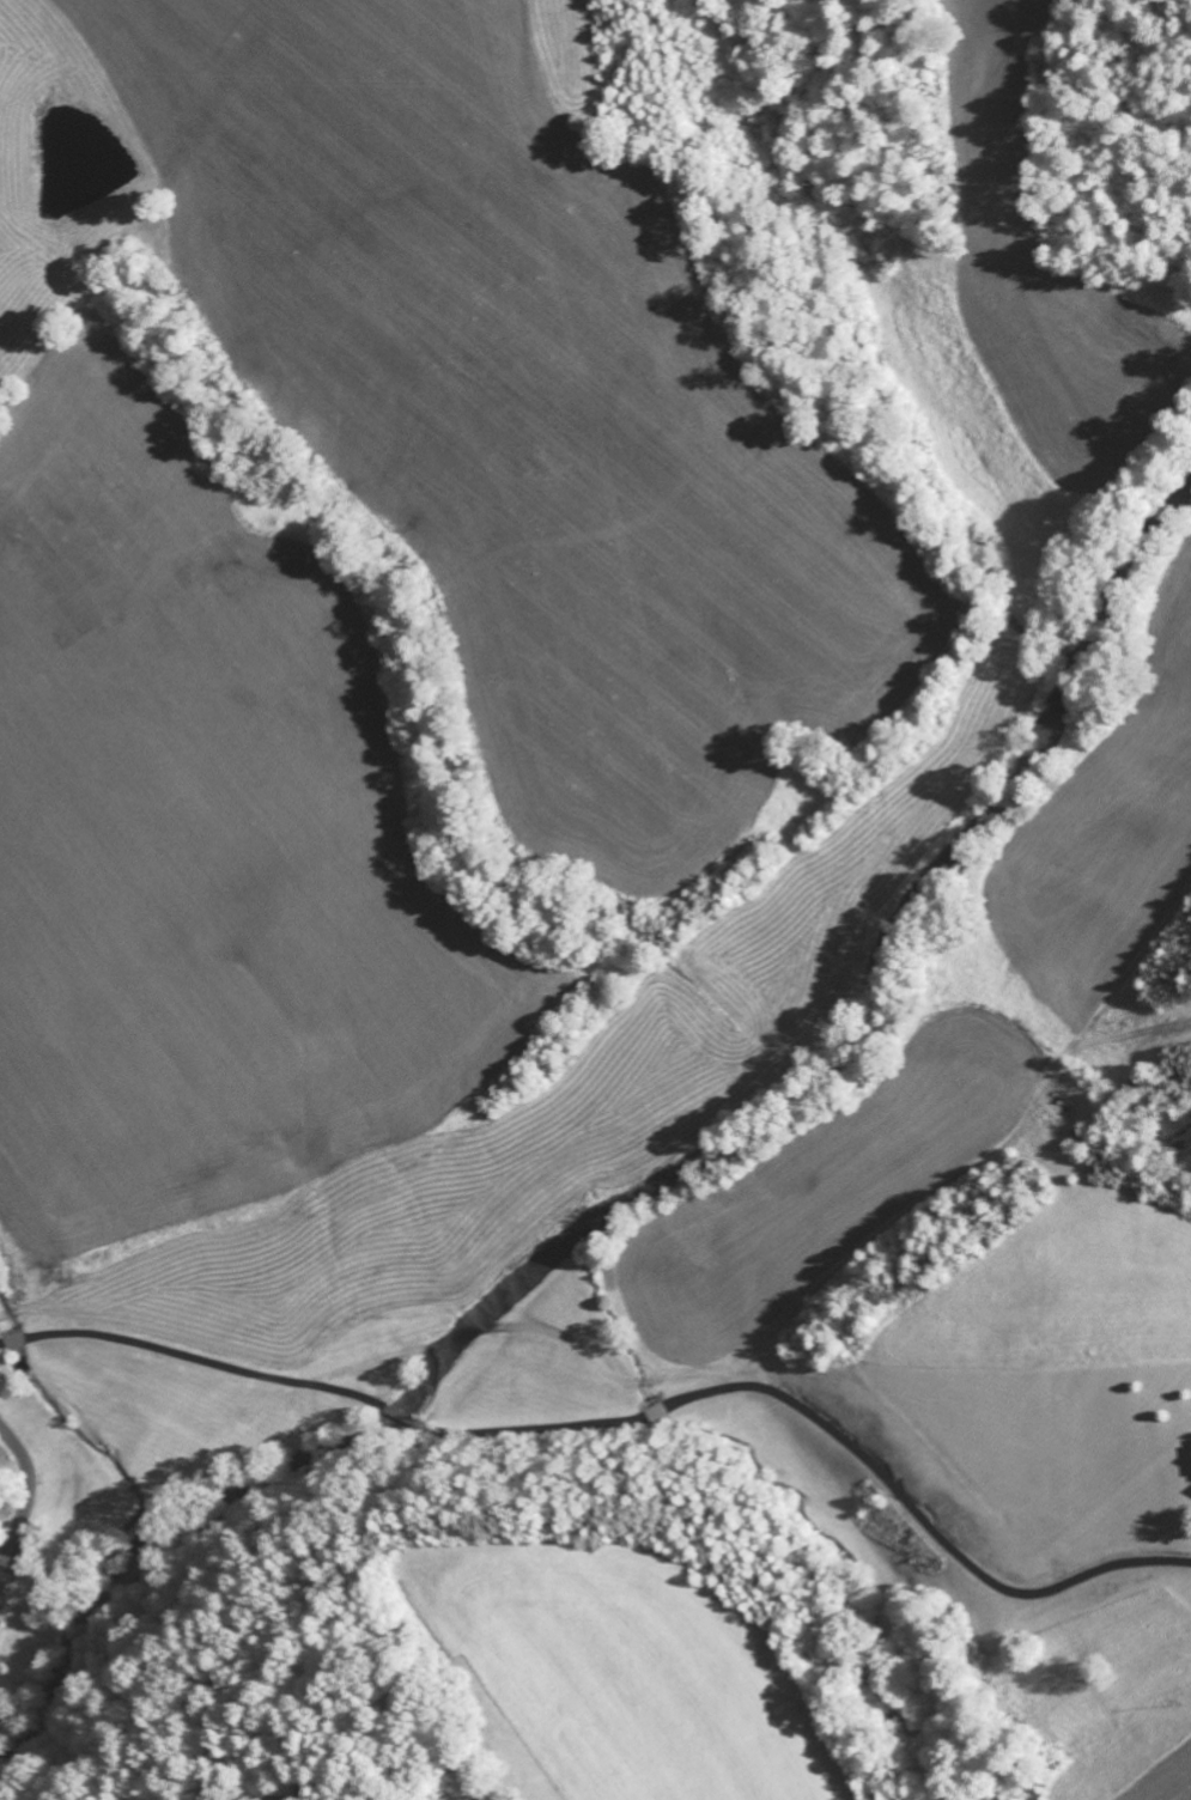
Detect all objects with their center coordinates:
road: (633, 1406)
road: (30, 1503)

